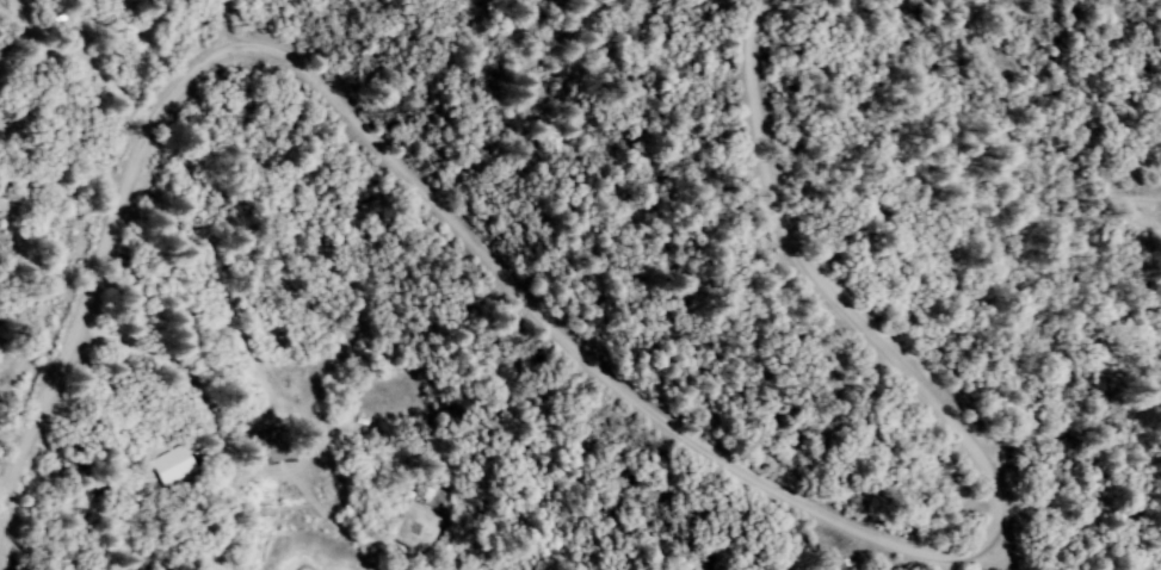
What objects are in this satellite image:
road: (381, 151)
road: (840, 306)
building: (274, 444)
building: (169, 465)

